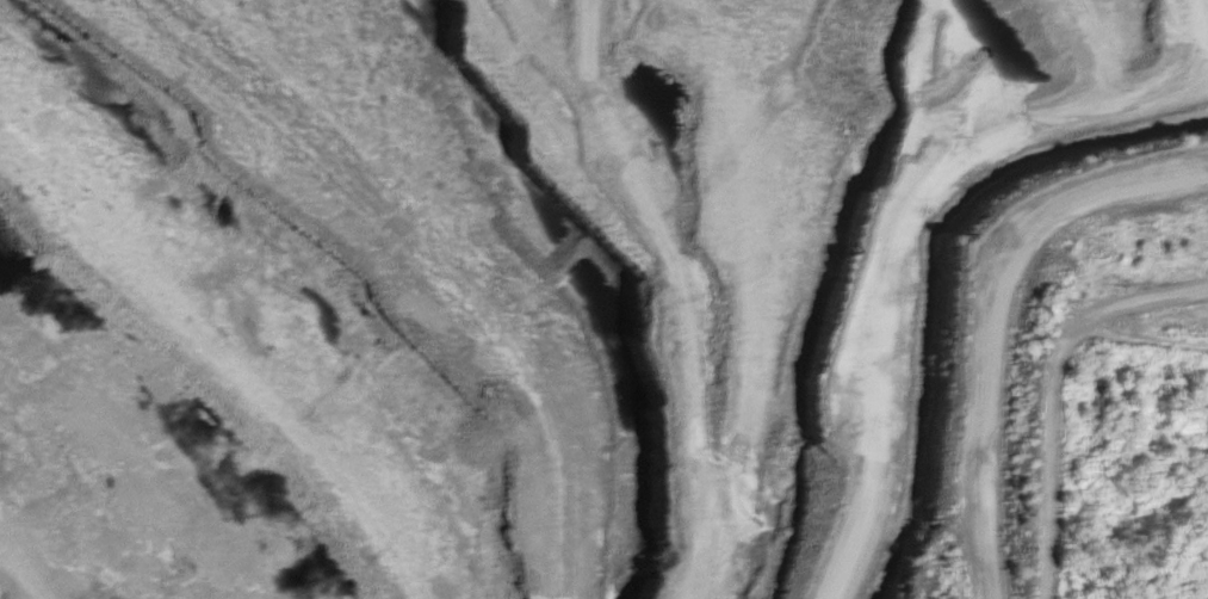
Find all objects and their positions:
road: (1207, 0)
road: (925, 257)
quarry: (475, 303)
road: (621, 524)

